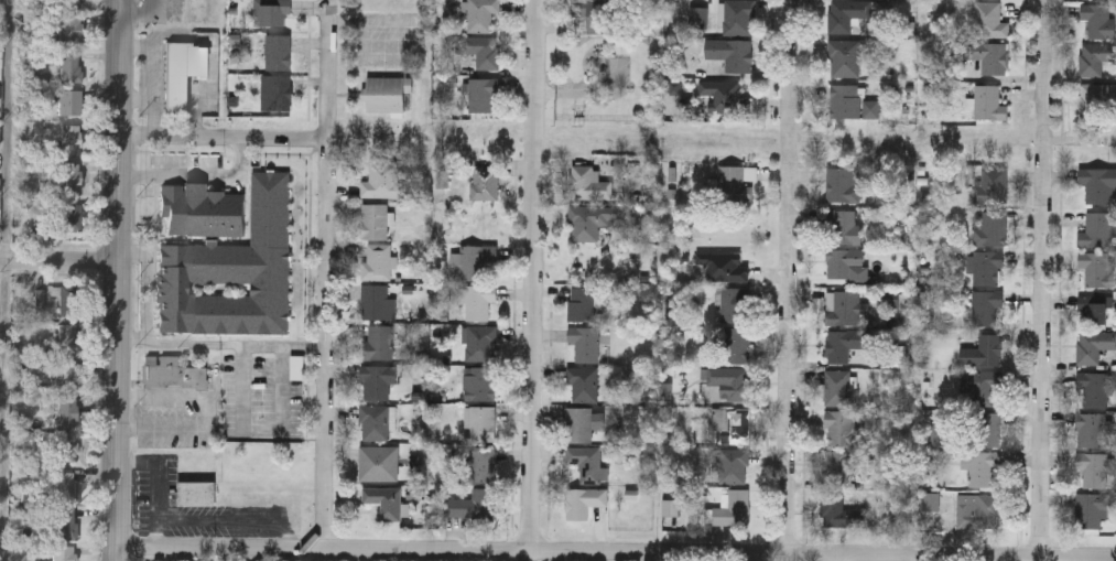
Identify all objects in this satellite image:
building: (1096, 0)
building: (73, 2)
building: (272, 12)
building: (593, 13)
building: (846, 13)
building: (481, 14)
building: (737, 17)
building: (987, 19)
building: (1098, 19)
building: (65, 25)
building: (483, 50)
building: (279, 52)
building: (730, 52)
building: (990, 55)
building: (843, 56)
building: (1095, 57)
building: (71, 64)
road: (145, 64)
building: (183, 75)
building: (277, 93)
building: (387, 93)
building: (483, 94)
building: (725, 95)
building: (1096, 96)
building: (844, 100)
building: (69, 101)
building: (987, 101)
road: (148, 107)
road: (193, 114)
road: (8, 131)
road: (224, 138)
building: (71, 139)
road: (197, 174)
building: (68, 175)
building: (382, 180)
building: (485, 182)
building: (735, 182)
building: (842, 183)
building: (1098, 183)
building: (588, 184)
building: (990, 184)
building: (65, 217)
building: (375, 220)
building: (593, 220)
building: (844, 225)
building: (989, 228)
building: (1096, 228)
building: (226, 260)
building: (843, 261)
road: (59, 262)
building: (377, 262)
building: (473, 262)
building: (723, 266)
building: (986, 268)
building: (1096, 268)
road: (323, 272)
road: (535, 274)
road: (785, 276)
road: (1041, 277)
road: (120, 280)
road: (151, 289)
building: (68, 301)
building: (479, 301)
building: (376, 302)
building: (581, 303)
building: (735, 304)
building: (986, 306)
building: (1094, 306)
building: (843, 308)
building: (67, 338)
building: (378, 342)
building: (479, 342)
building: (584, 343)
building: (843, 343)
road: (219, 345)
building: (737, 345)
building: (1093, 345)
building: (982, 350)
building: (66, 376)
building: (172, 377)
building: (375, 381)
building: (728, 381)
building: (479, 384)
building: (583, 384)
building: (839, 386)
building: (978, 387)
building: (1091, 389)
road: (4, 411)
building: (65, 411)
road: (207, 414)
building: (376, 421)
building: (481, 422)
building: (578, 424)
building: (730, 425)
road: (261, 427)
building: (838, 427)
building: (988, 428)
building: (1092, 429)
building: (64, 447)
building: (378, 462)
building: (587, 463)
building: (481, 464)
building: (837, 464)
building: (733, 465)
building: (979, 465)
building: (1091, 470)
building: (65, 487)
building: (197, 495)
building: (384, 500)
building: (583, 501)
building: (472, 504)
building: (733, 508)
building: (1091, 508)
building: (977, 510)
building: (837, 511)
building: (65, 524)
road: (616, 549)
road: (533, 554)
road: (839, 557)

